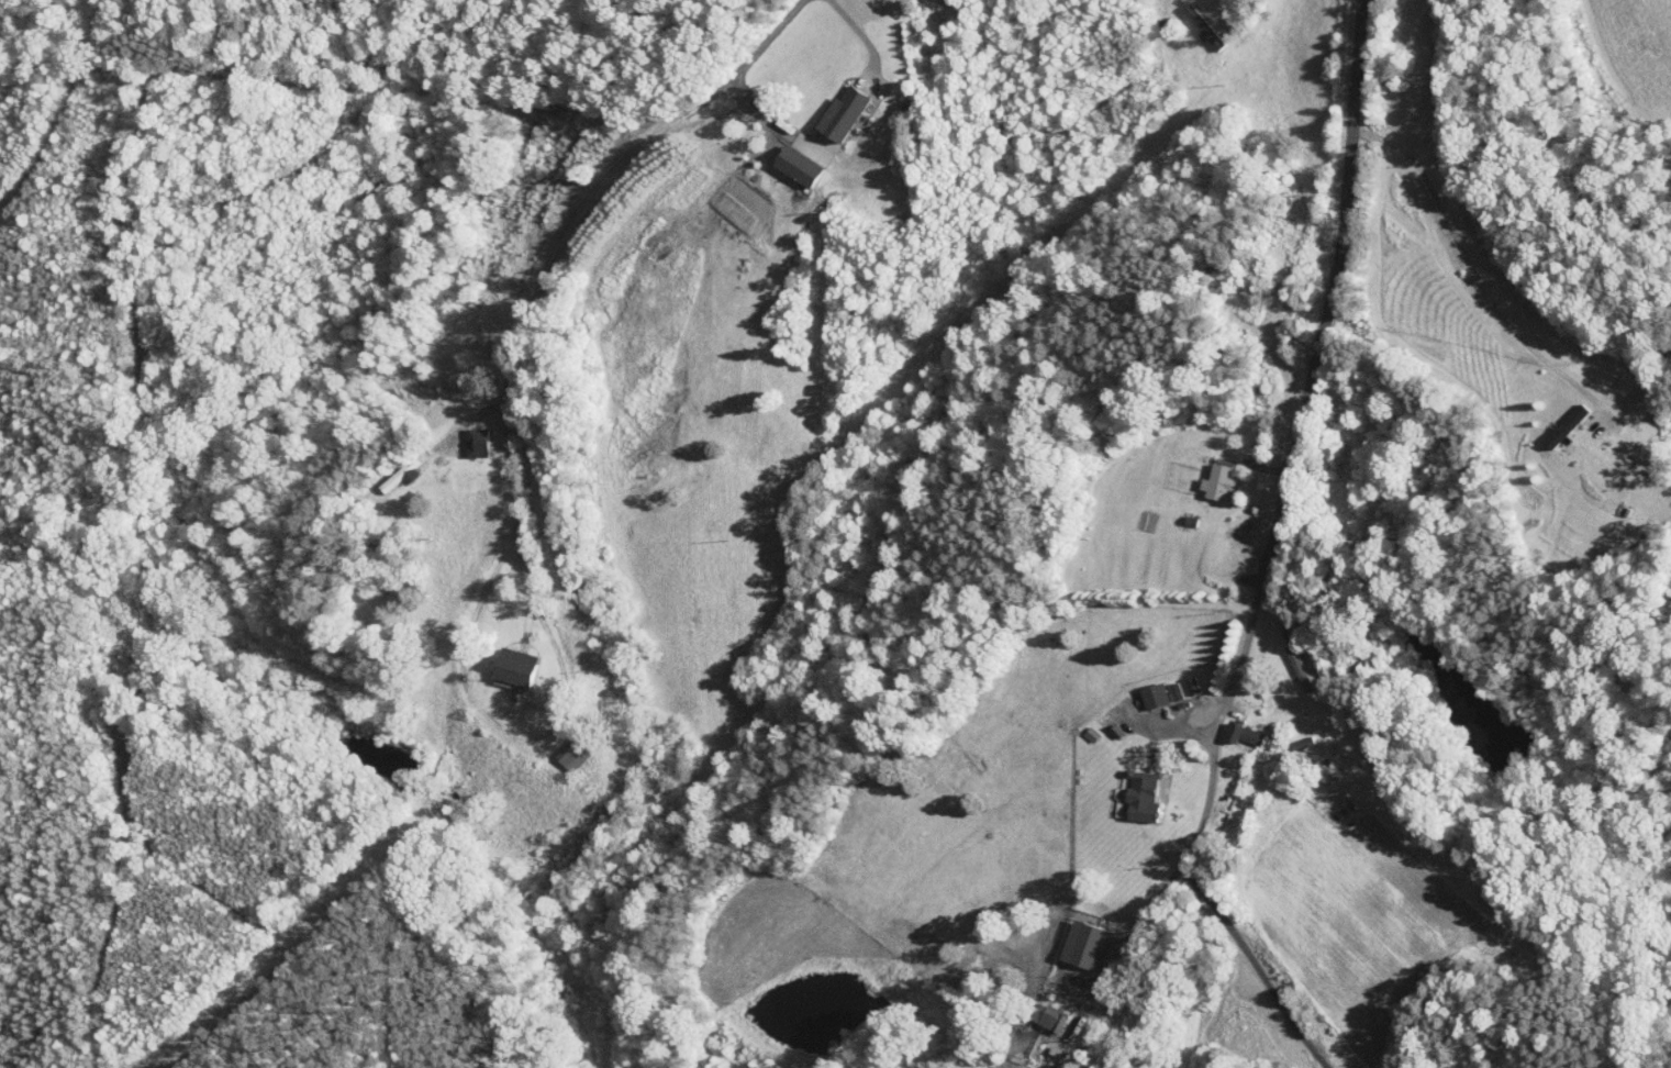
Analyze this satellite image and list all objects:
road: (865, 35)
building: (826, 105)
building: (781, 157)
road: (1461, 267)
road: (550, 278)
building: (1545, 425)
building: (460, 434)
building: (1202, 474)
road: (1270, 552)
building: (497, 658)
building: (1139, 688)
building: (1226, 726)
building: (1126, 788)
building: (1070, 938)
road: (1257, 965)
building: (1033, 1010)

